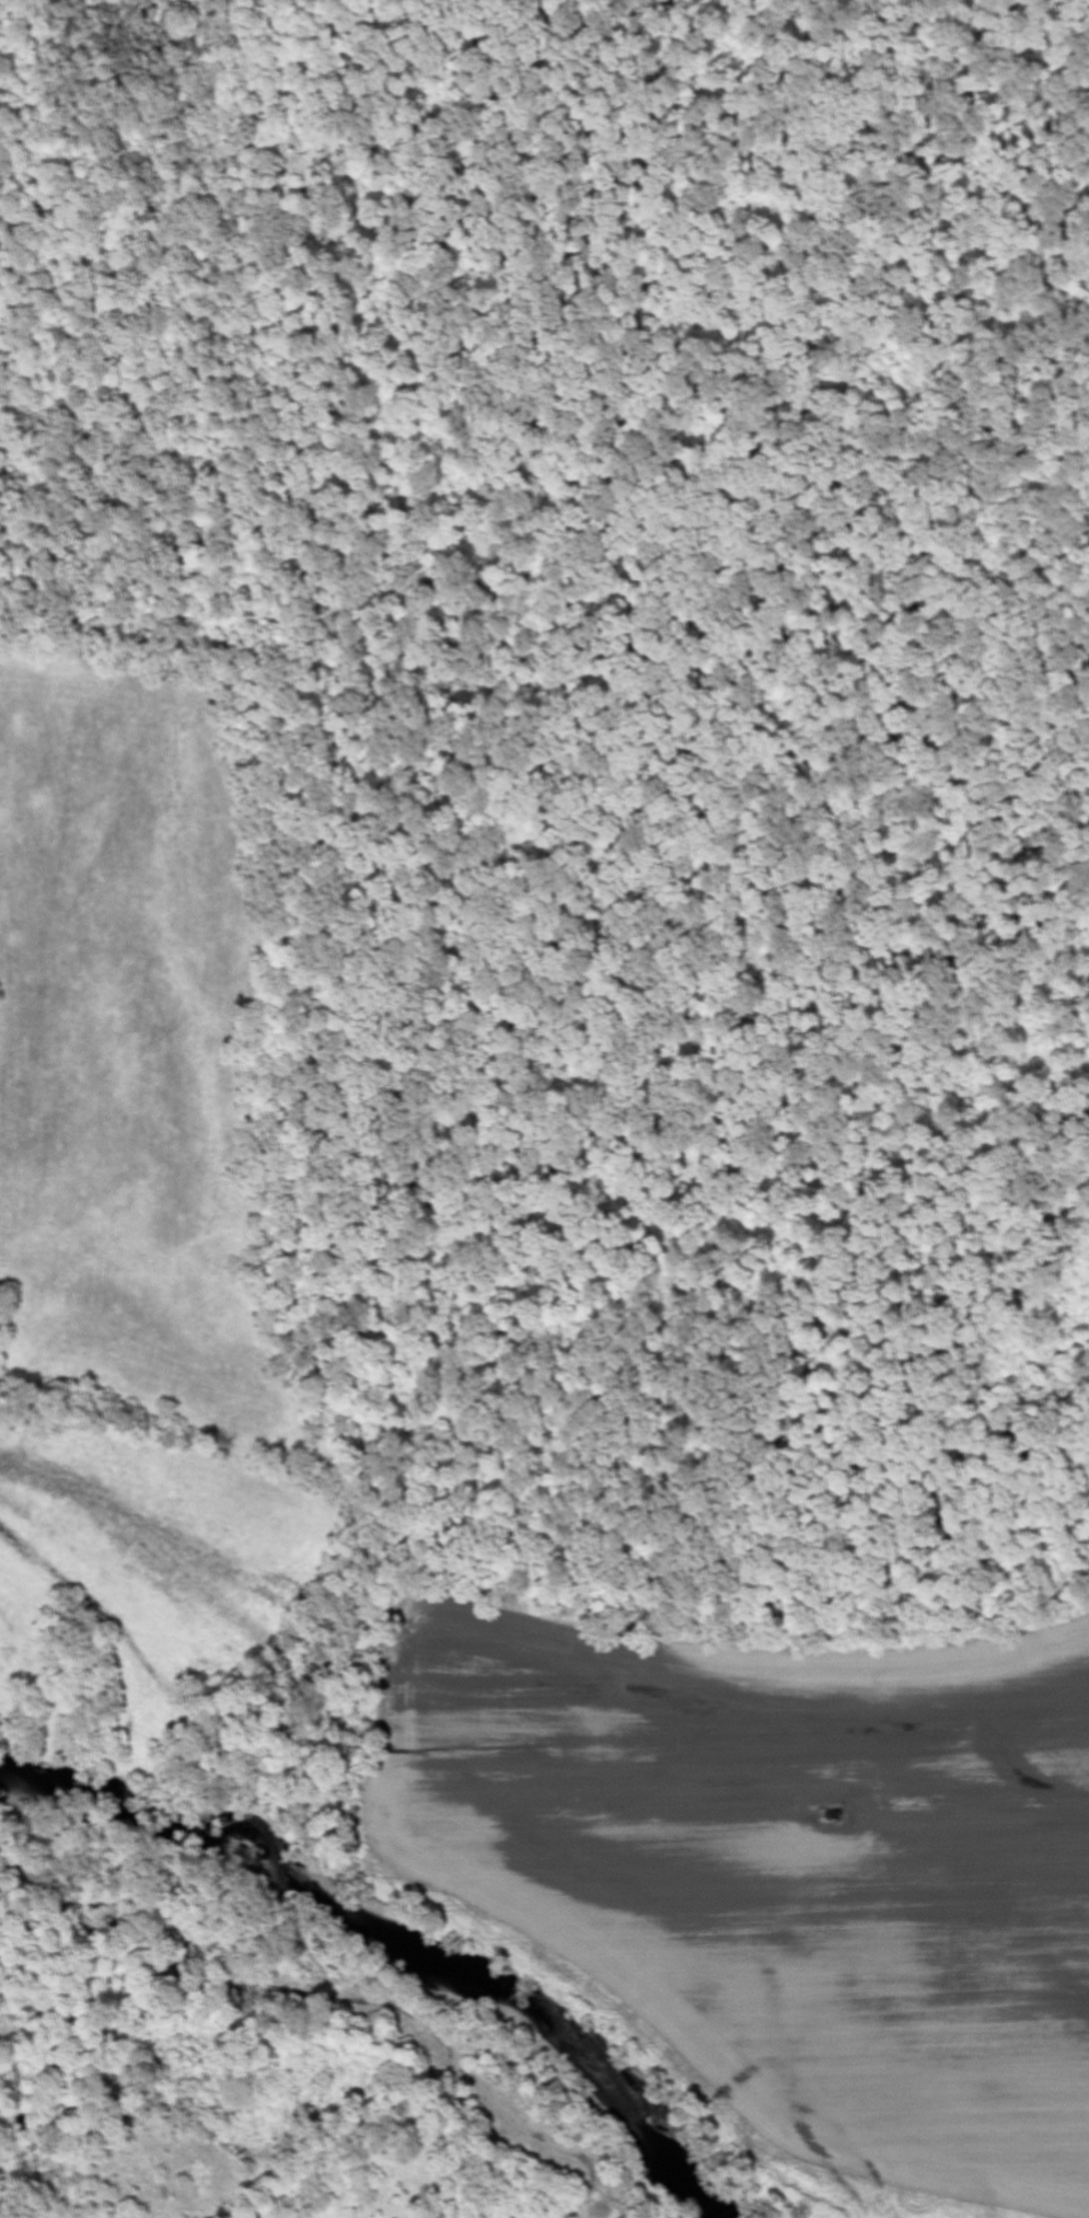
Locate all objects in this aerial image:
river: (392, 1943)

